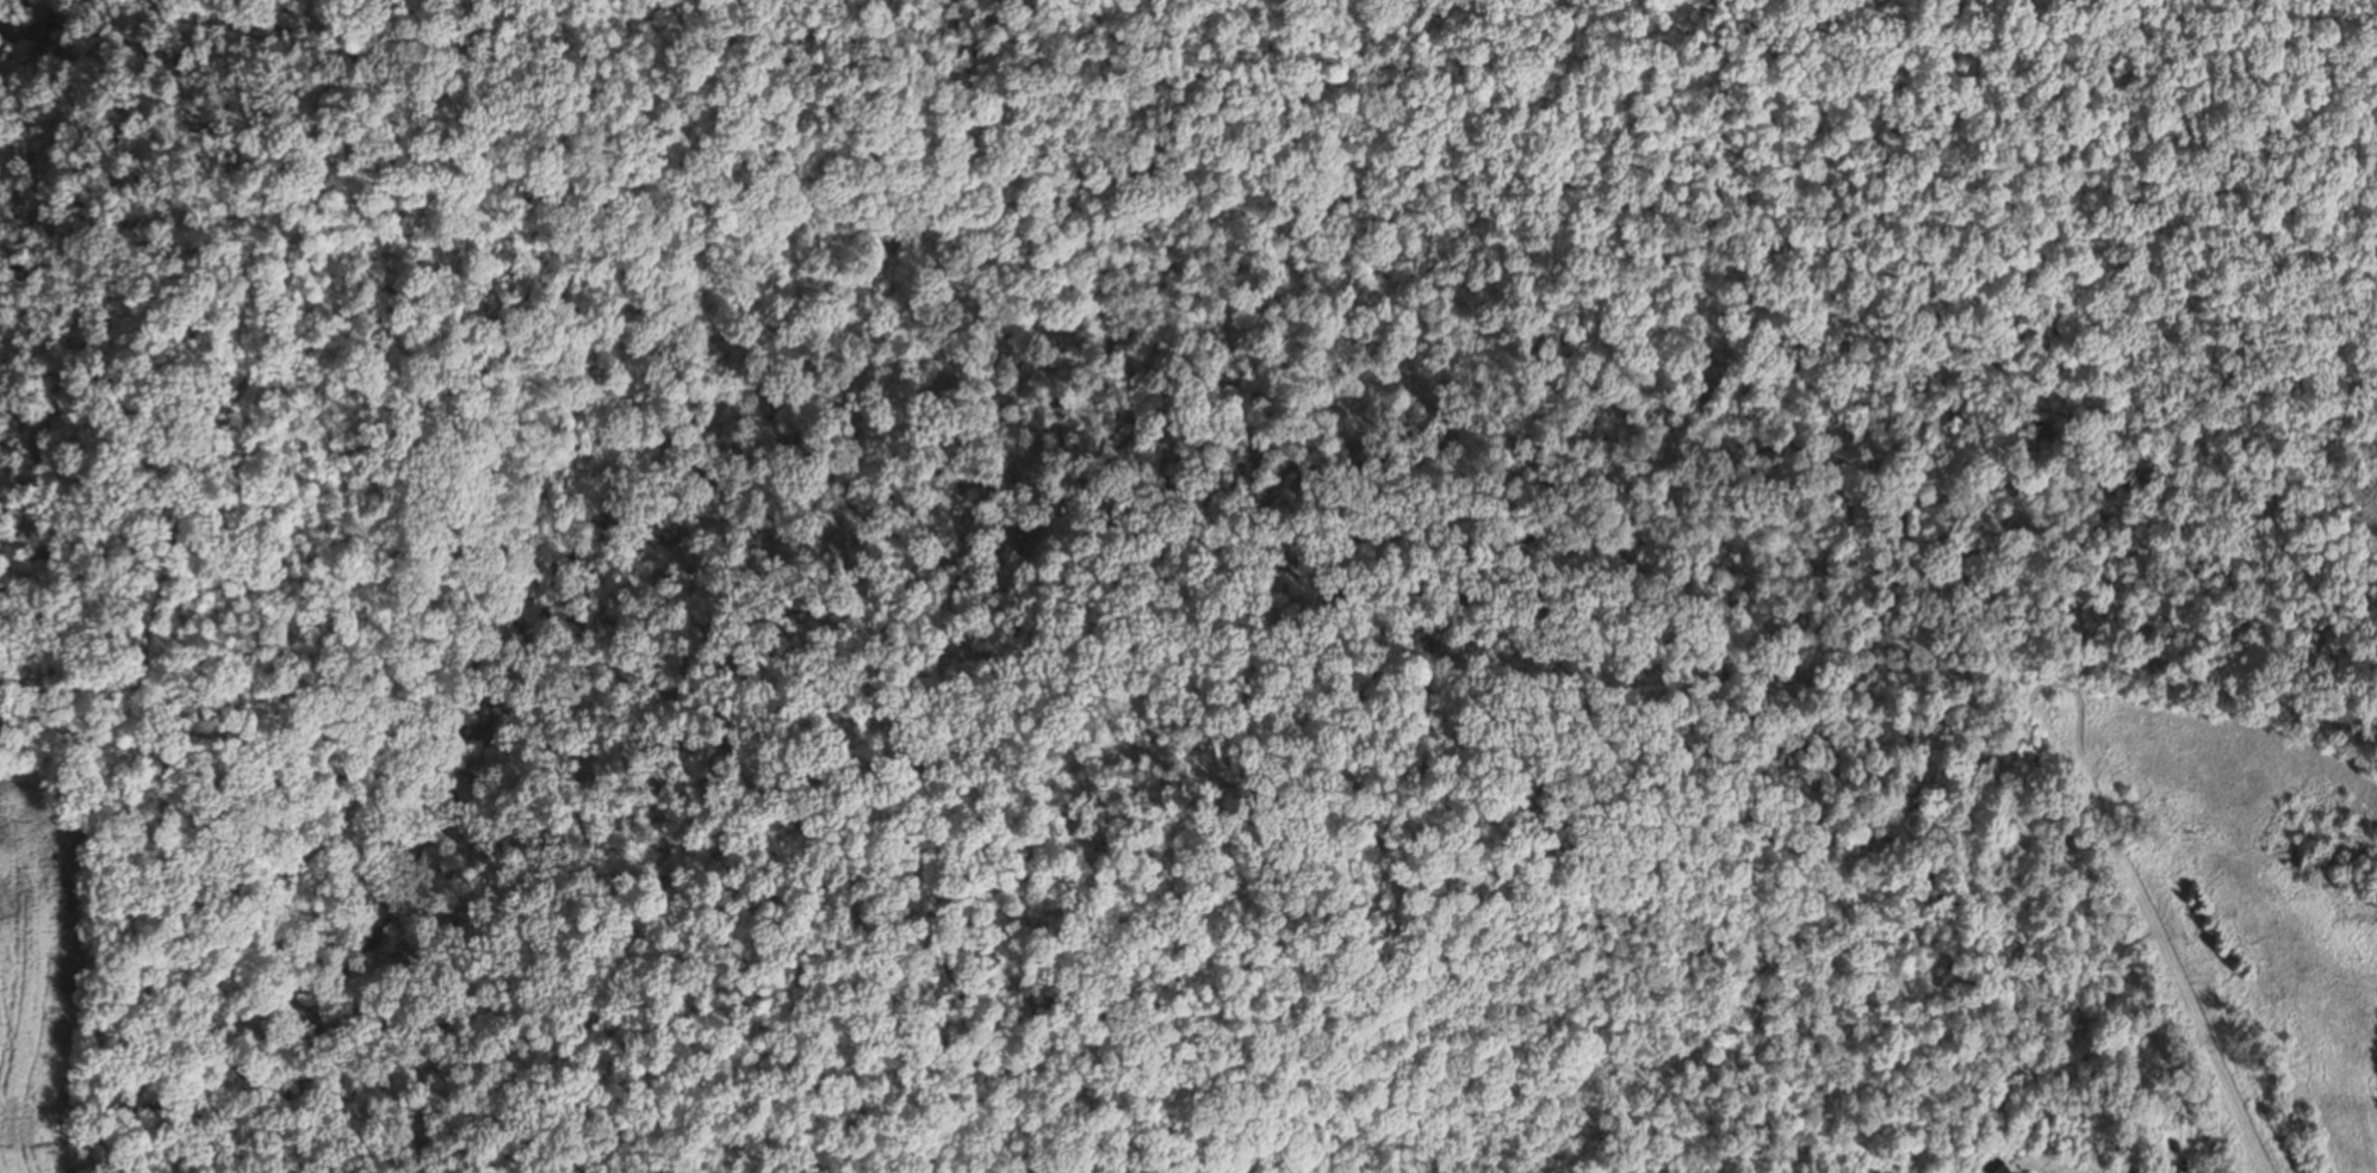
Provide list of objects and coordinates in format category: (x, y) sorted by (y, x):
building: (1993, 1167)

